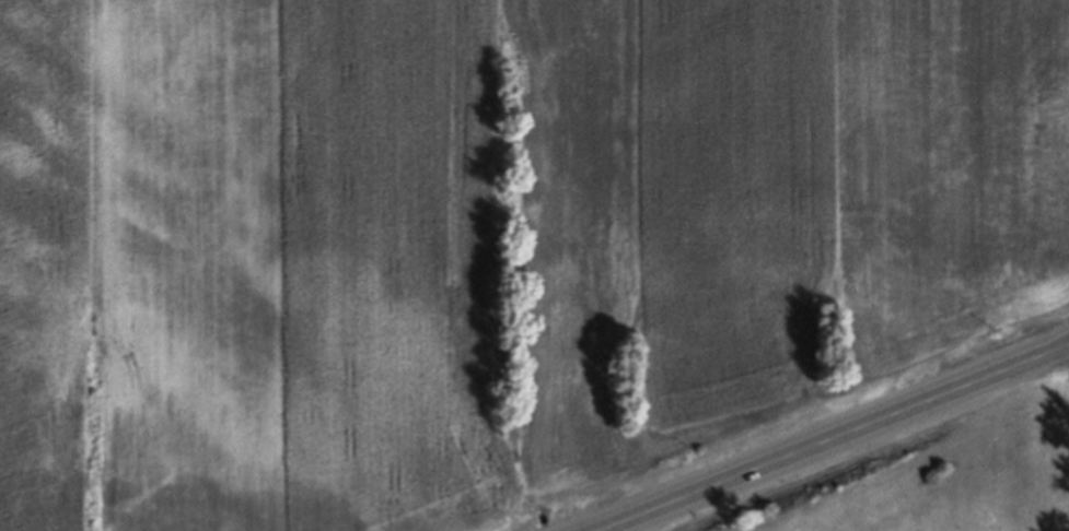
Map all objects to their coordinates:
road: (833, 438)

